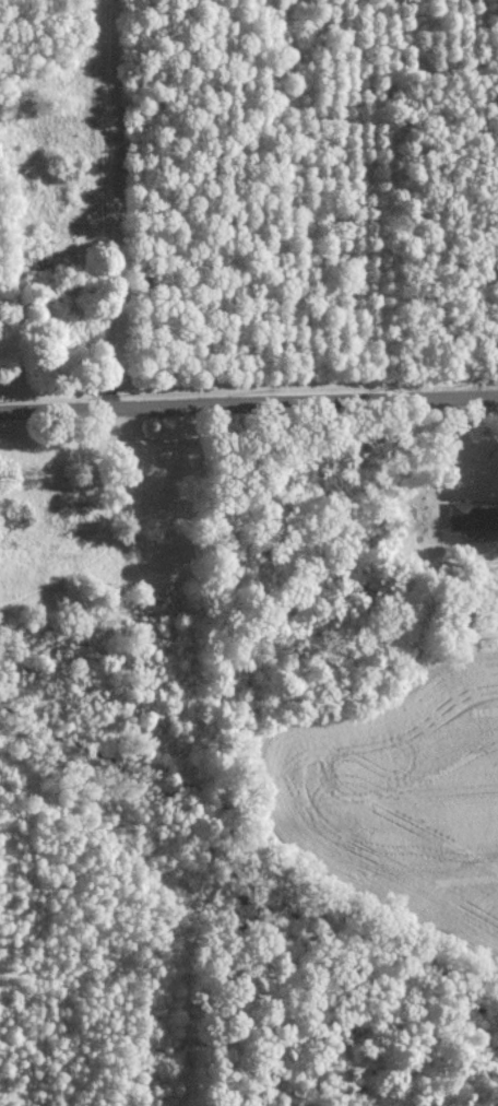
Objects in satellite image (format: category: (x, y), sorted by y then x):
road: (248, 401)
building: (472, 517)

